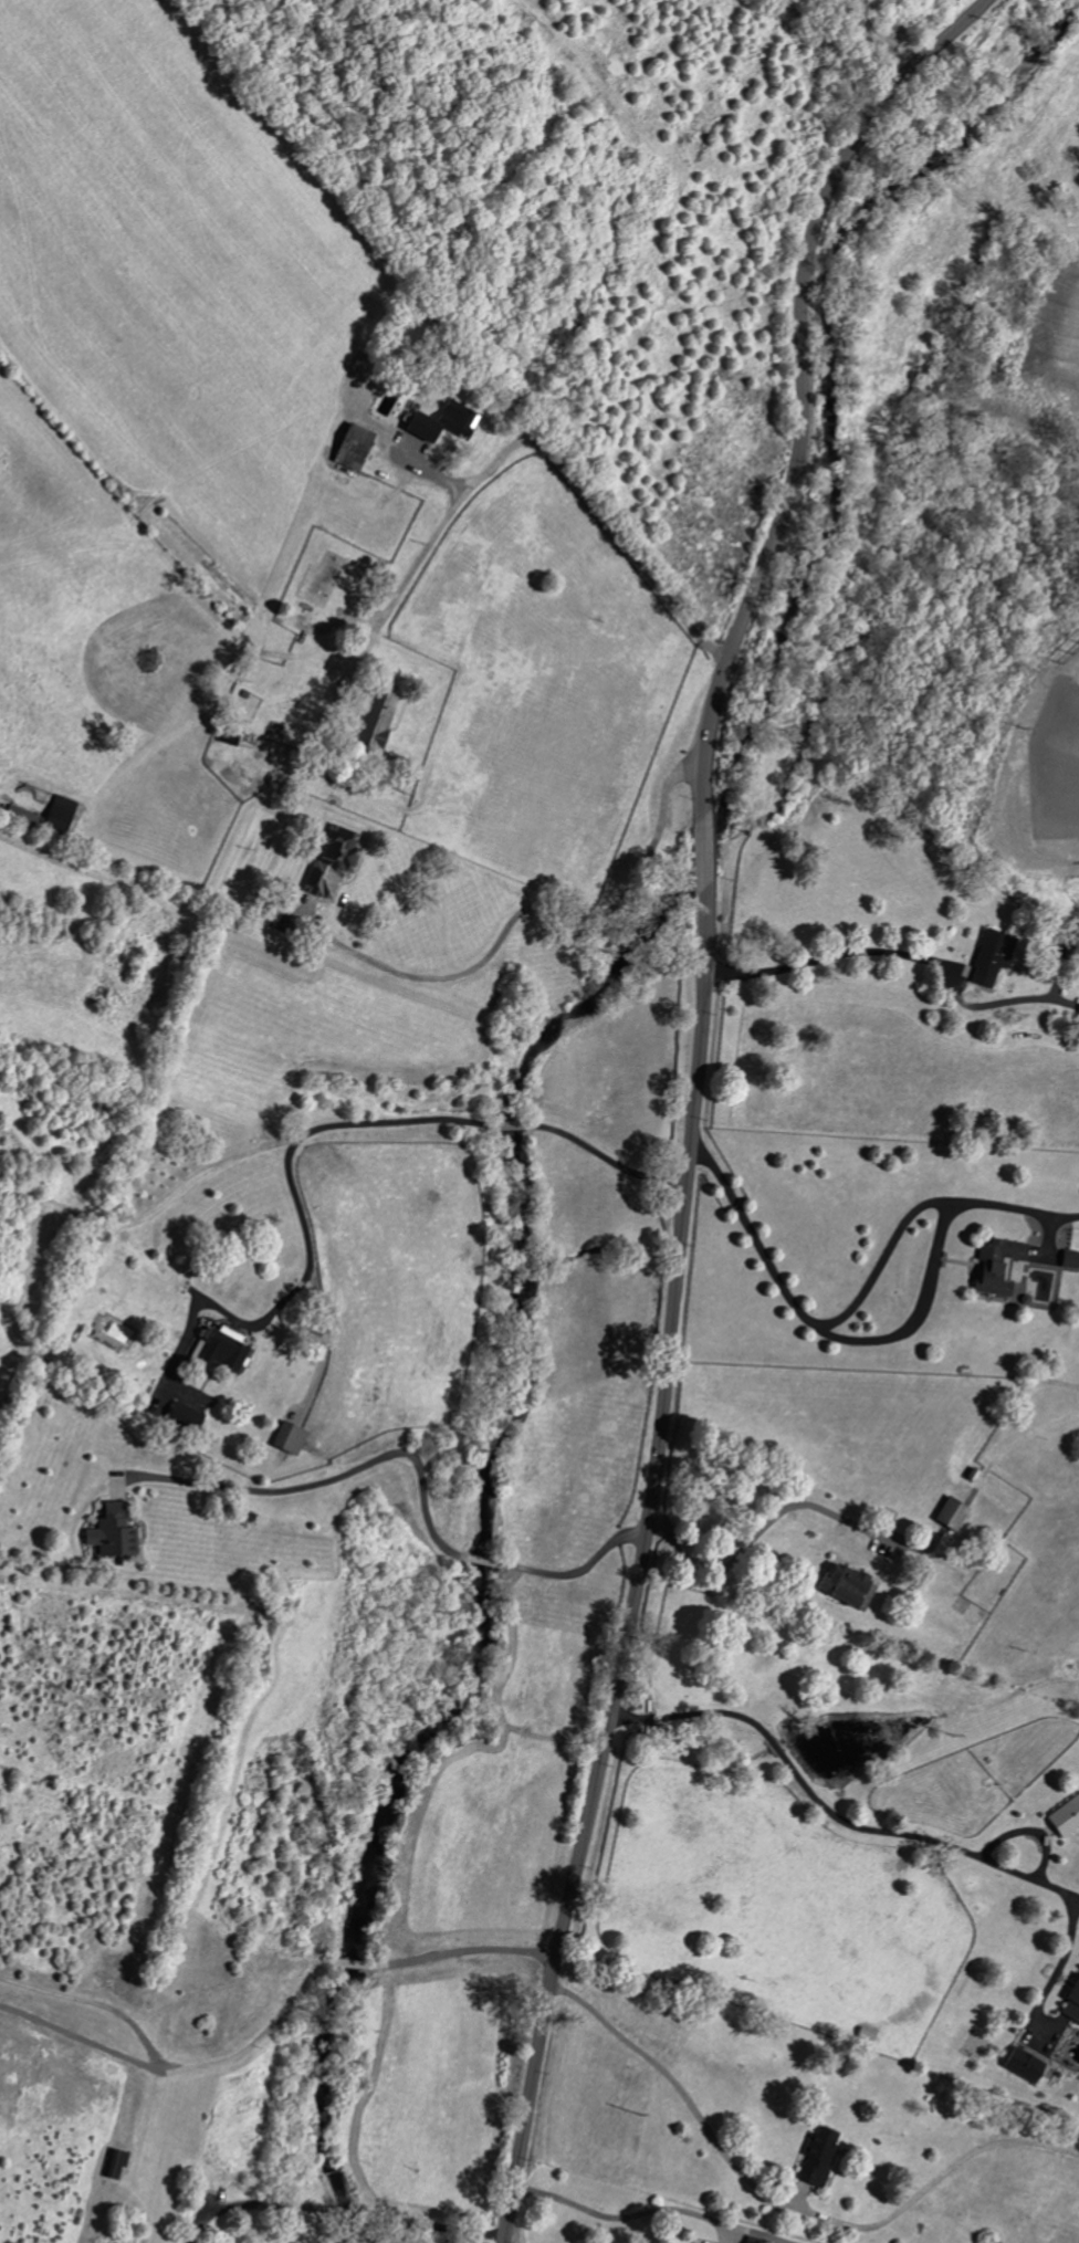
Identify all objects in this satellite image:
road: (876, 143)
road: (803, 384)
building: (441, 421)
road: (532, 443)
building: (352, 448)
building: (376, 719)
building: (59, 815)
road: (703, 850)
building: (332, 862)
road: (544, 911)
building: (993, 953)
road: (827, 954)
building: (1078, 1015)
road: (511, 1123)
road: (605, 1156)
road: (283, 1167)
building: (1070, 1260)
building: (996, 1266)
road: (908, 1324)
building: (216, 1352)
building: (182, 1418)
building: (287, 1438)
road: (326, 1478)
building: (951, 1514)
road: (764, 1524)
building: (112, 1533)
road: (483, 1558)
road: (582, 1566)
road: (638, 1568)
building: (846, 1587)
road: (828, 1812)
building: (1065, 1818)
road: (1077, 1897)
road: (457, 1948)
road: (348, 1962)
road: (1058, 1969)
building: (1071, 2004)
building: (1024, 2065)
road: (169, 2068)
road: (677, 2093)
building: (817, 2157)
building: (114, 2166)
road: (252, 2203)
road: (348, 2211)
road: (619, 2215)
road: (433, 2222)
building: (754, 2240)

